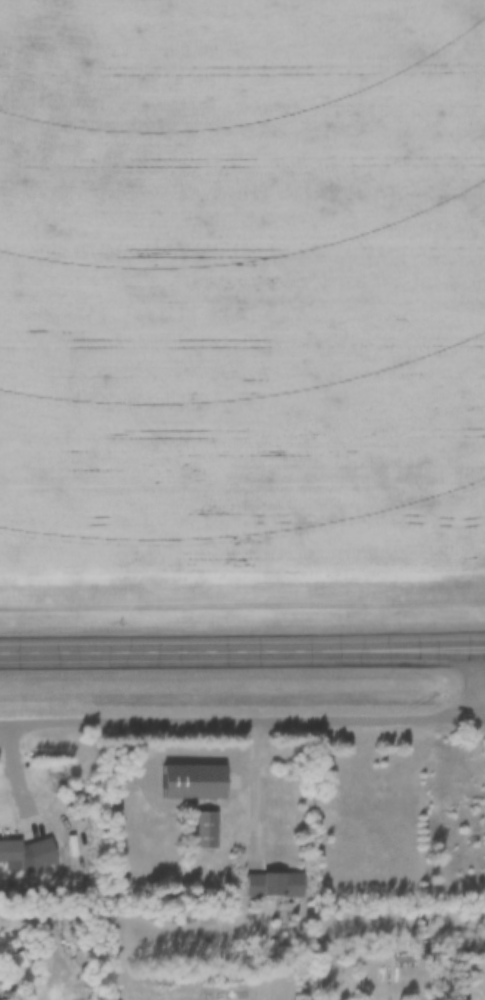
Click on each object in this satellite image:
road: (242, 643)
road: (242, 722)
building: (193, 781)
road: (255, 795)
building: (203, 829)
building: (10, 850)
building: (41, 851)
building: (273, 884)
building: (20, 958)

